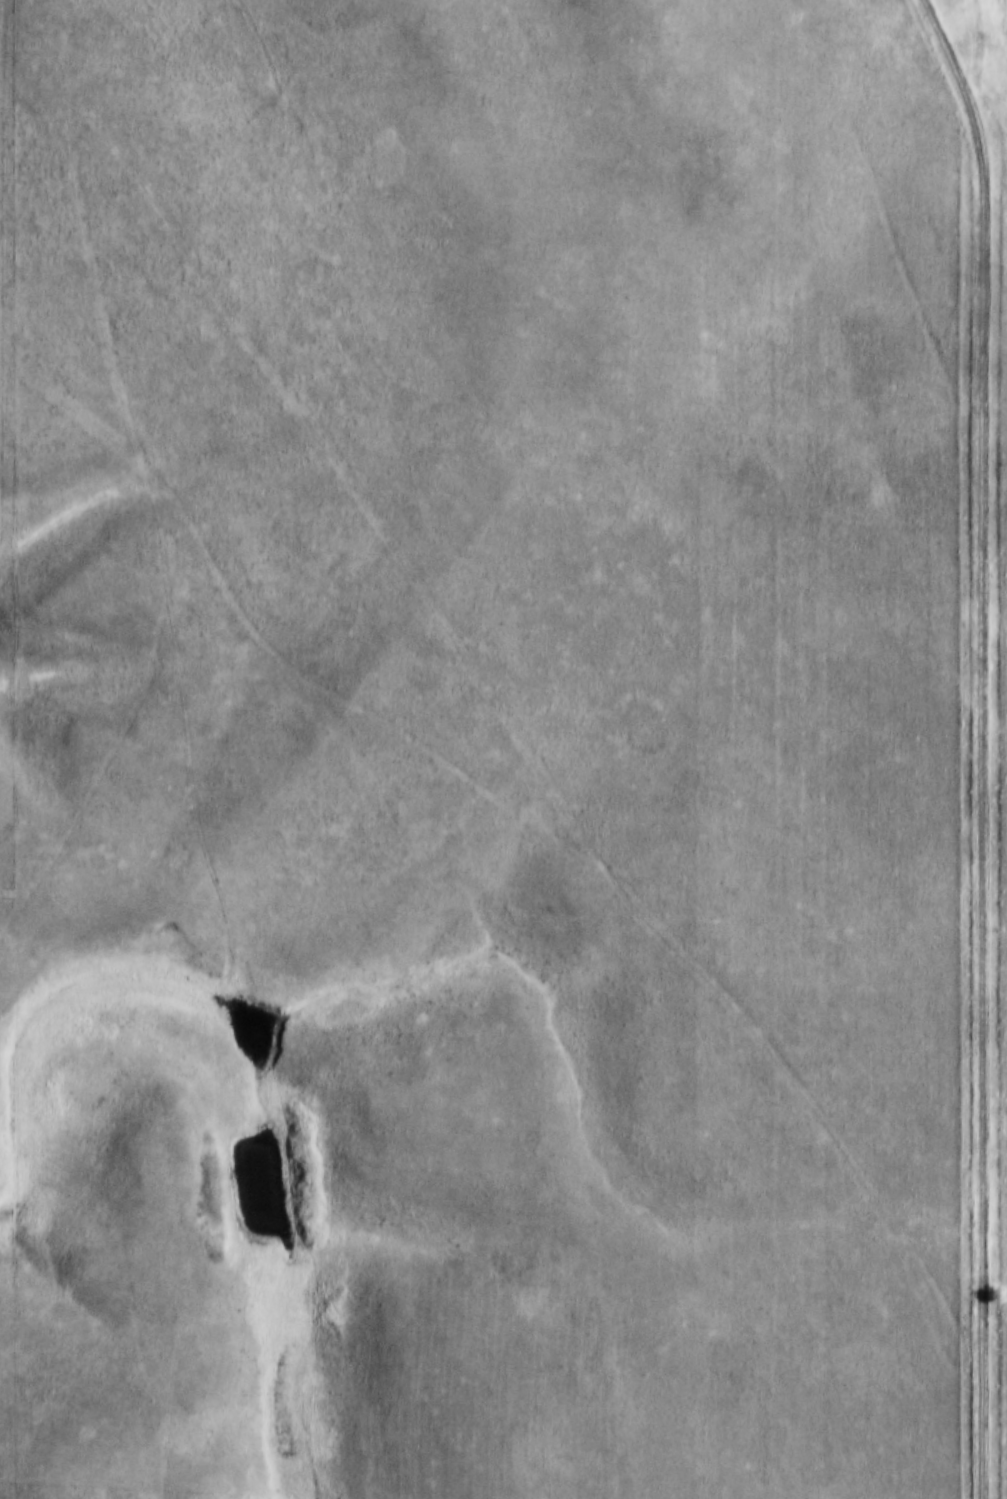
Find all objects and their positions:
road: (980, 743)

